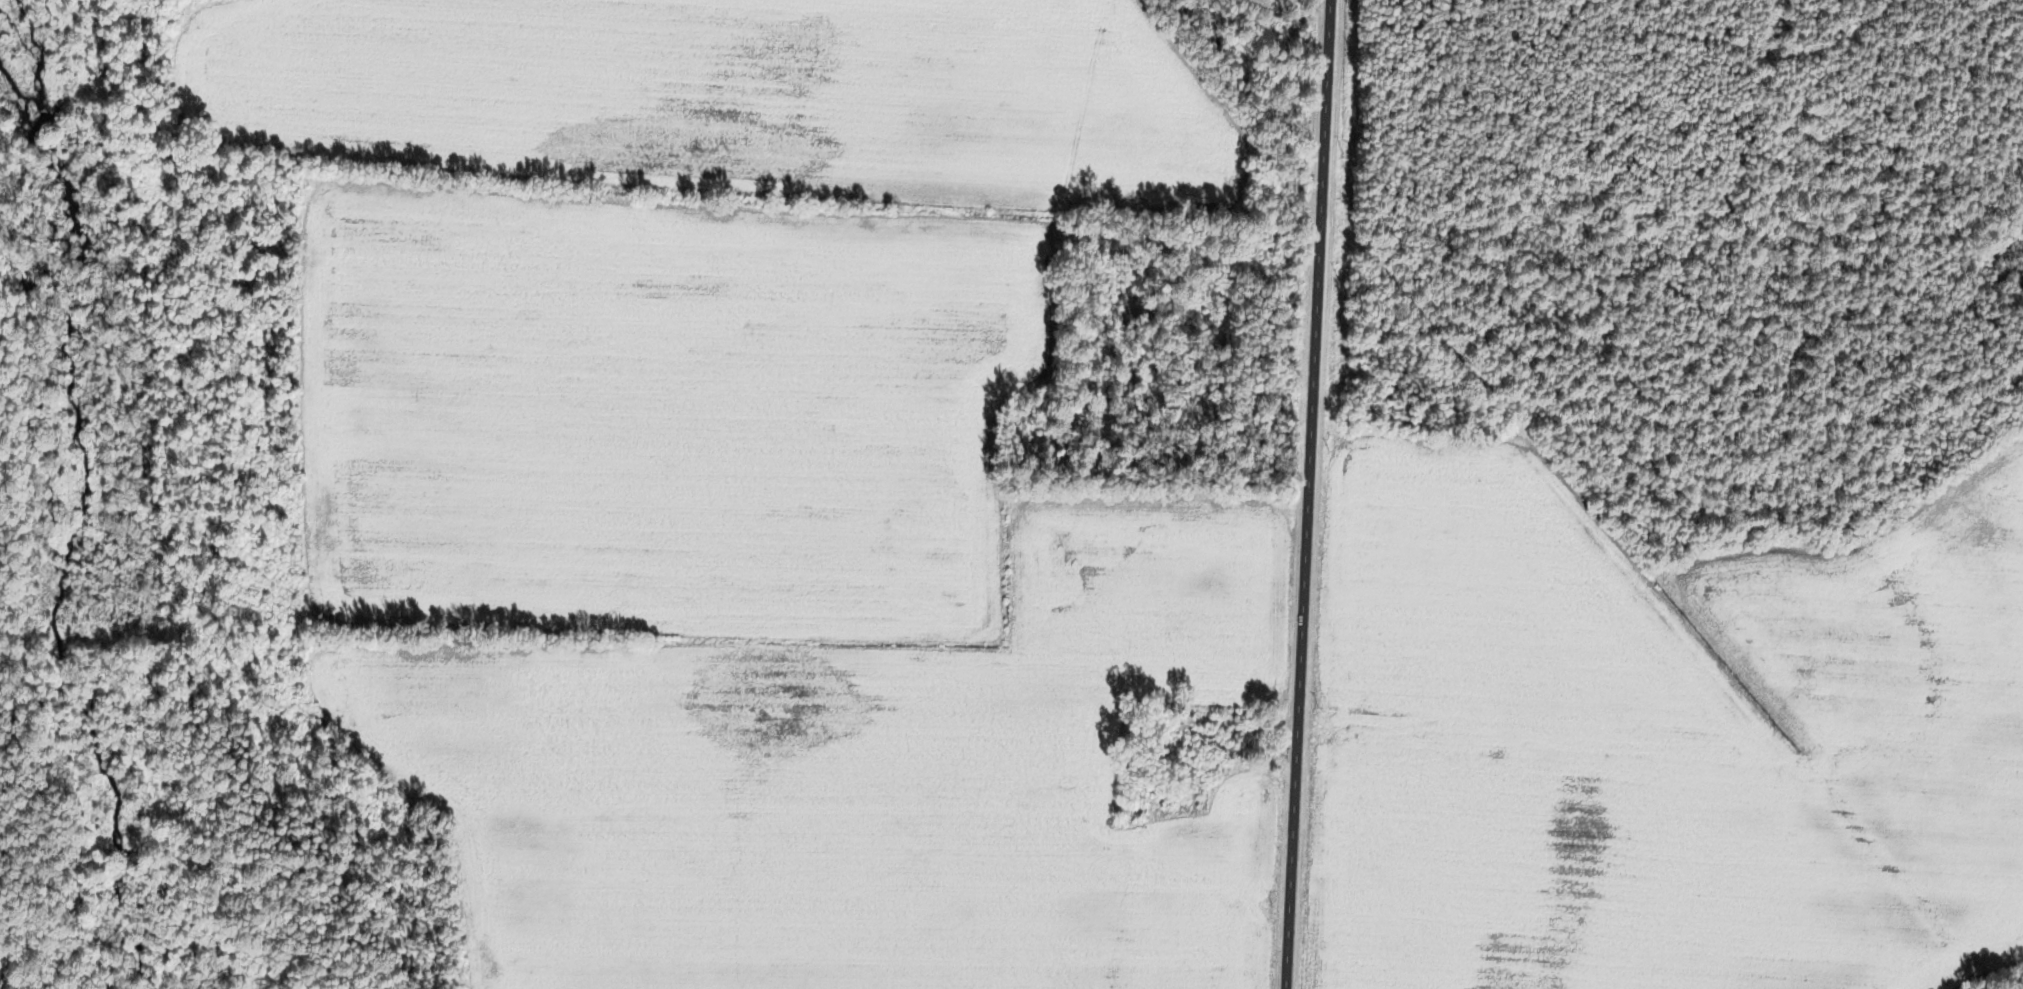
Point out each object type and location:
road: (1105, 5)
road: (1307, 494)
building: (1199, 733)
road: (1641, 756)
building: (1122, 807)

